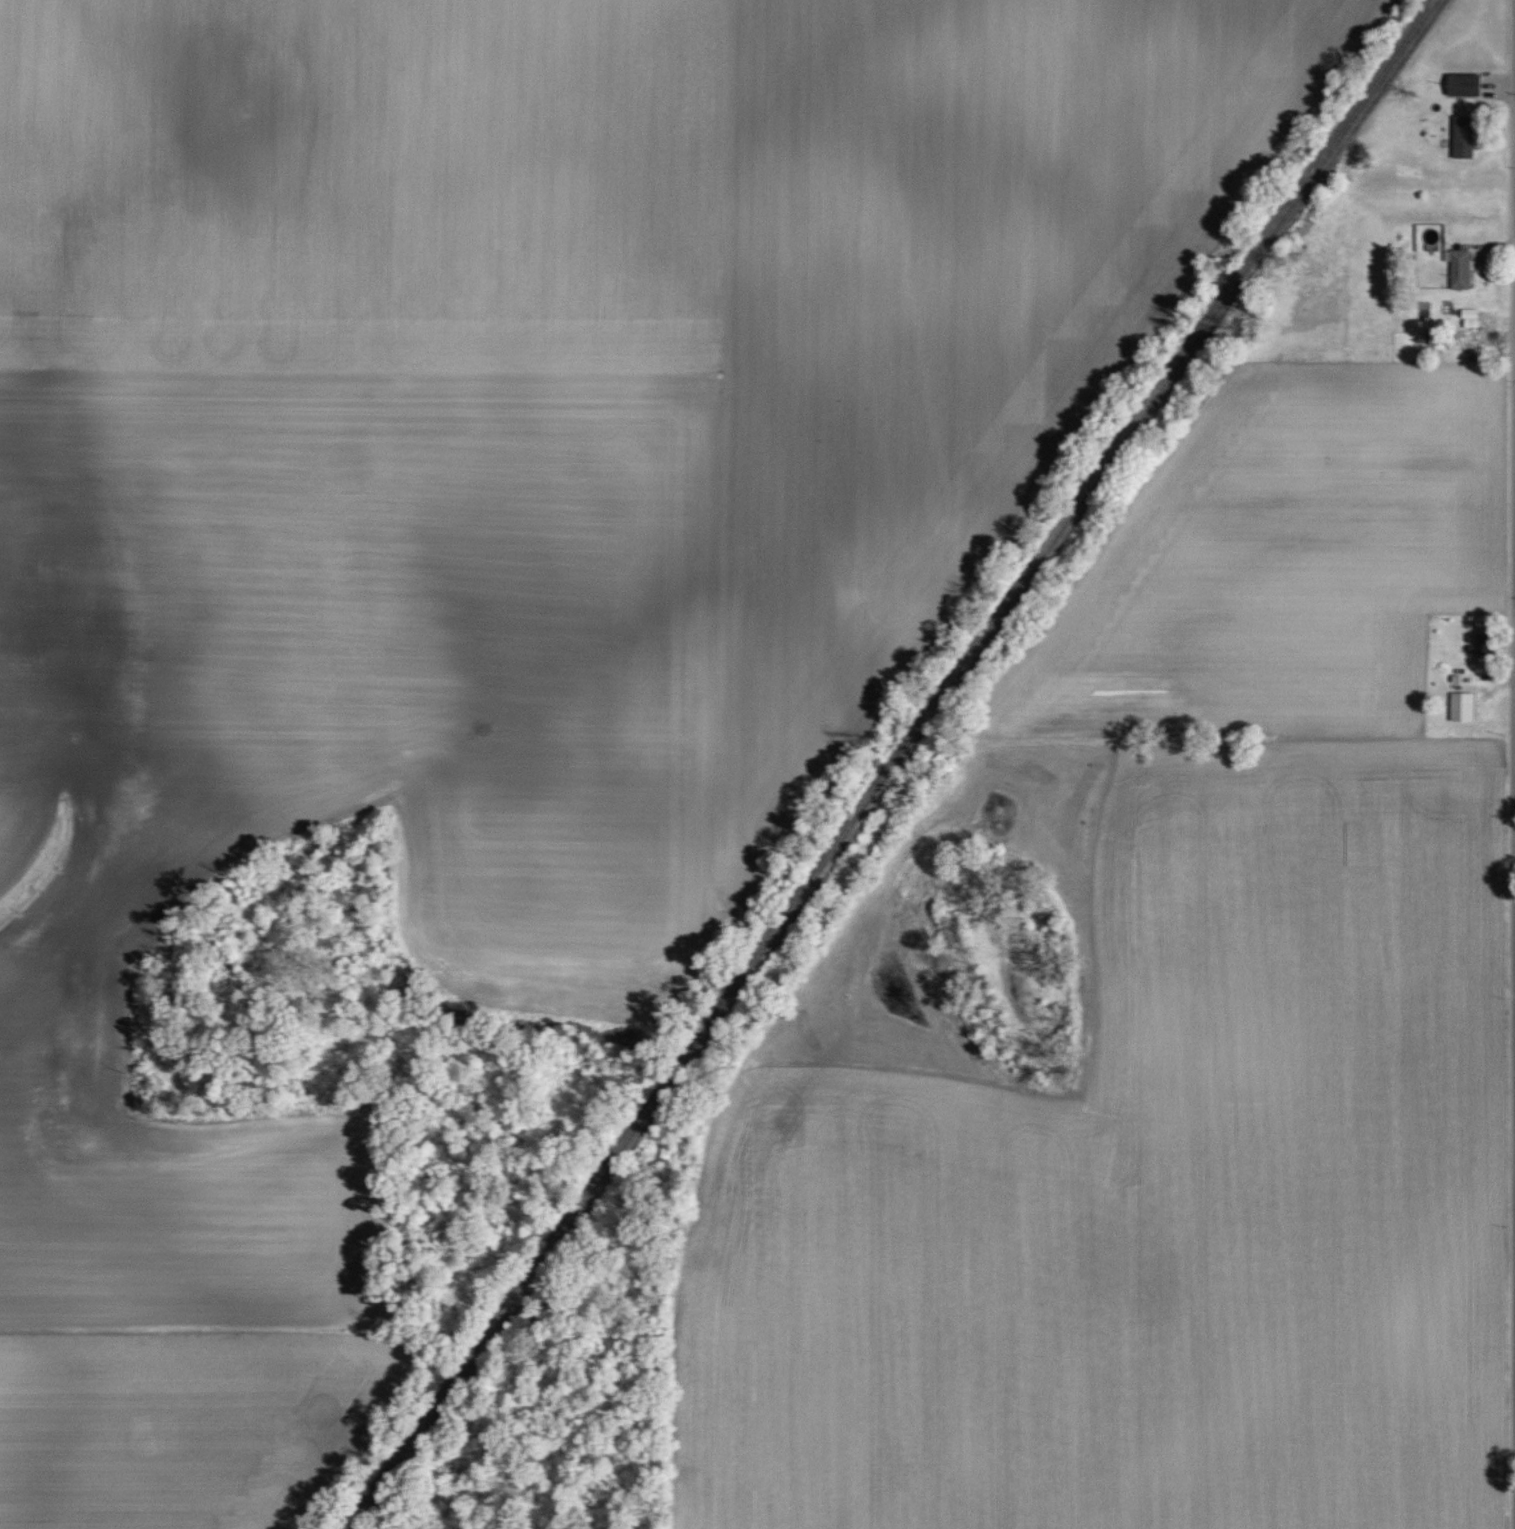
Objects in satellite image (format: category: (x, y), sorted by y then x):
building: (1463, 84)
building: (1463, 137)
building: (1458, 268)
building: (1469, 318)
building: (1461, 707)
railway: (895, 764)
road: (1513, 764)

